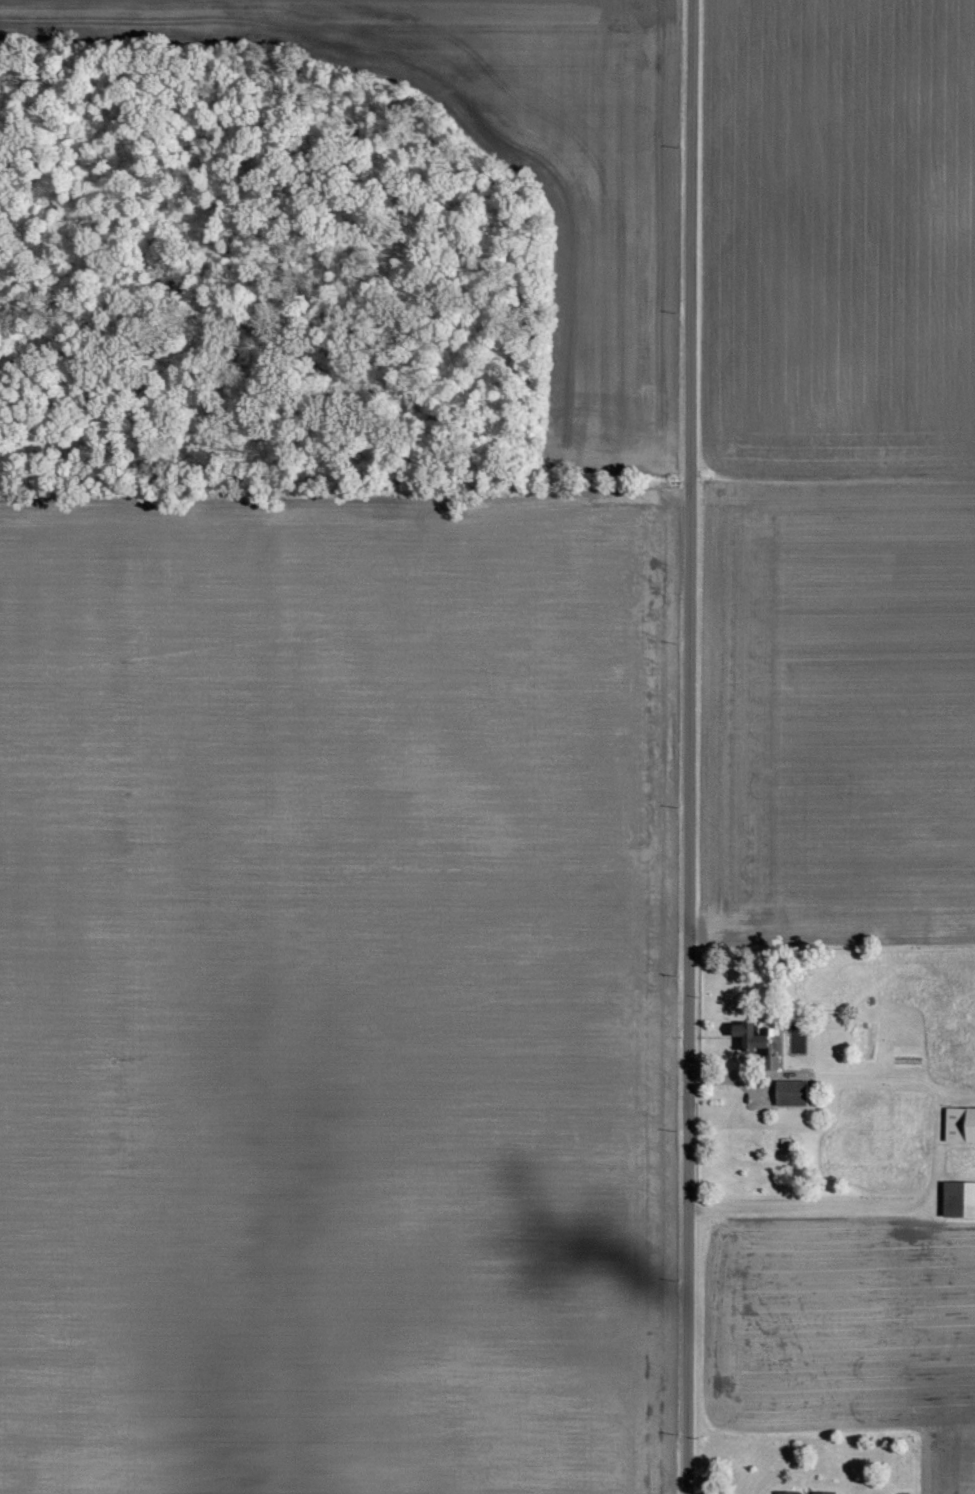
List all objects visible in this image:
crop: (836, 470)
road: (694, 747)
building: (755, 1038)
building: (792, 1092)
building: (961, 1124)
building: (785, 1145)
building: (961, 1199)
crop: (844, 1328)
building: (789, 1493)
building: (823, 1493)

